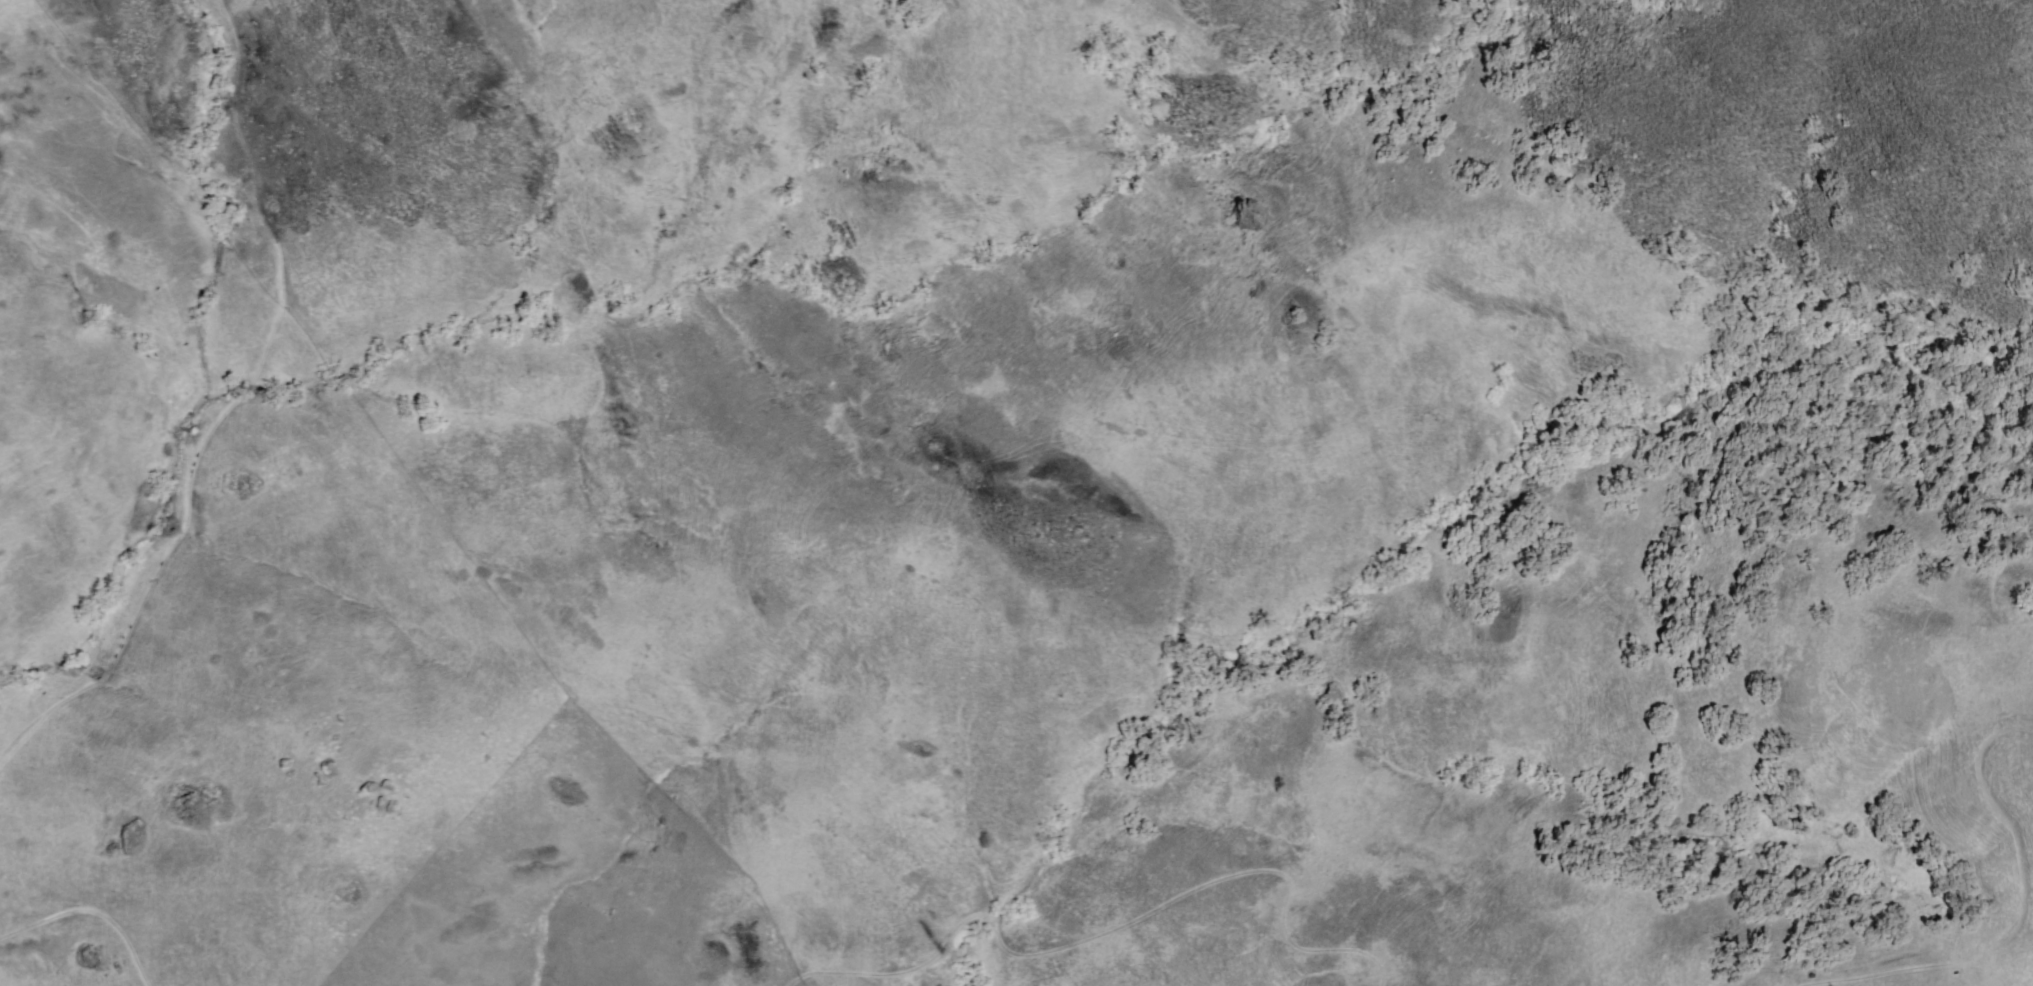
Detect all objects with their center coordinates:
road: (92, 913)

